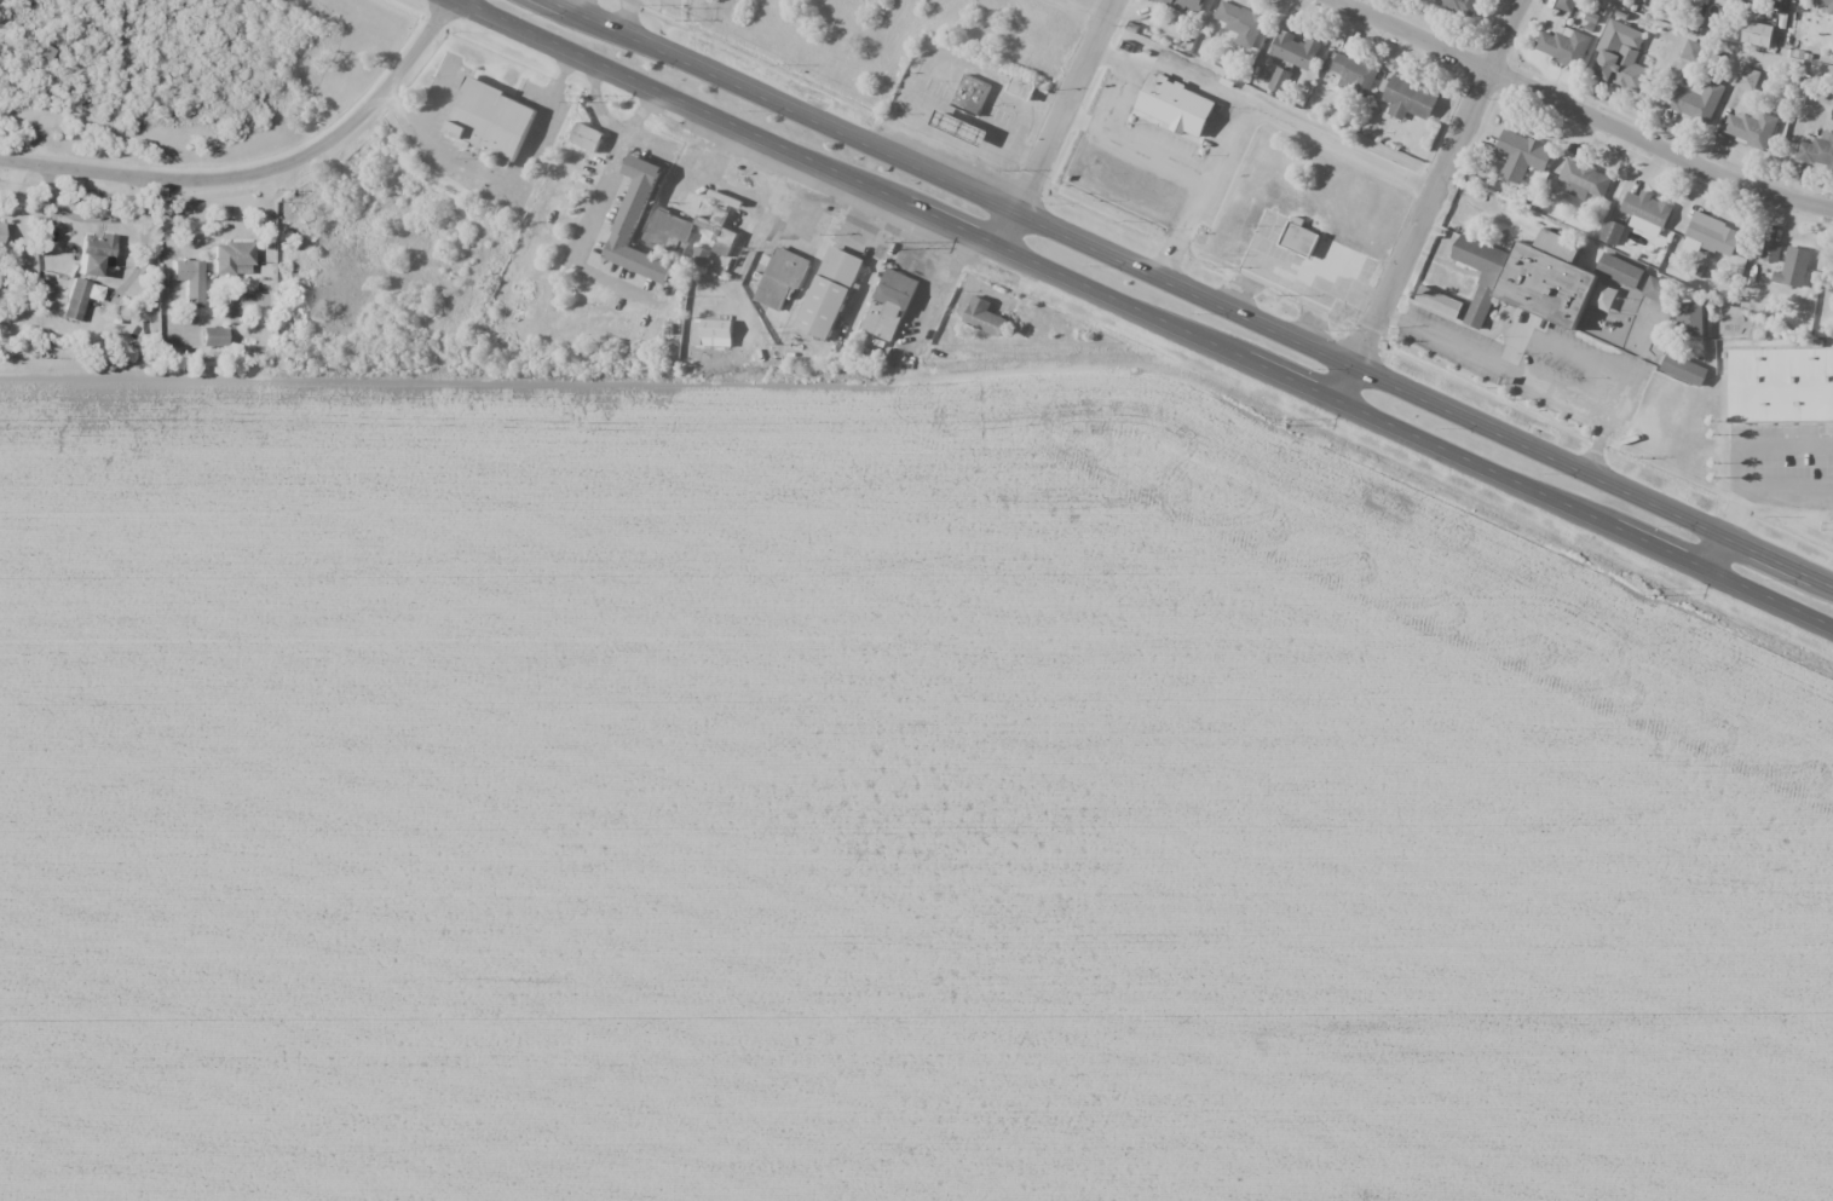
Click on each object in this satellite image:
building: (1758, 1)
building: (1181, 4)
building: (1566, 5)
building: (1459, 6)
building: (1829, 8)
building: (1239, 22)
building: (1757, 34)
building: (1563, 46)
building: (44, 50)
building: (1295, 50)
building: (1693, 51)
building: (1620, 58)
road: (1175, 73)
building: (1354, 74)
building: (1746, 77)
building: (1279, 80)
building: (1021, 88)
building: (970, 94)
power tower: (582, 98)
building: (1408, 99)
building: (1175, 105)
road: (1586, 110)
road: (1253, 114)
building: (491, 121)
road: (1059, 122)
building: (959, 128)
building: (1751, 128)
building: (587, 137)
road: (1125, 139)
building: (1817, 150)
building: (1520, 155)
road: (263, 174)
building: (1583, 180)
road: (1428, 200)
building: (1645, 213)
building: (638, 224)
building: (0, 231)
building: (668, 232)
building: (1610, 232)
building: (1712, 236)
building: (1298, 237)
power tower: (901, 241)
building: (727, 244)
building: (1770, 250)
building: (94, 253)
building: (231, 256)
building: (699, 256)
building: (1793, 267)
building: (1619, 270)
building: (782, 277)
building: (189, 279)
building: (1655, 289)
building: (829, 293)
building: (1549, 293)
road: (1188, 294)
building: (74, 299)
building: (1439, 301)
building: (889, 305)
road: (1147, 312)
building: (984, 317)
building: (1690, 319)
building: (716, 331)
building: (212, 336)
building: (1683, 369)
building: (1785, 387)
power tower: (1282, 420)
road: (1712, 553)
power tower: (1654, 587)

